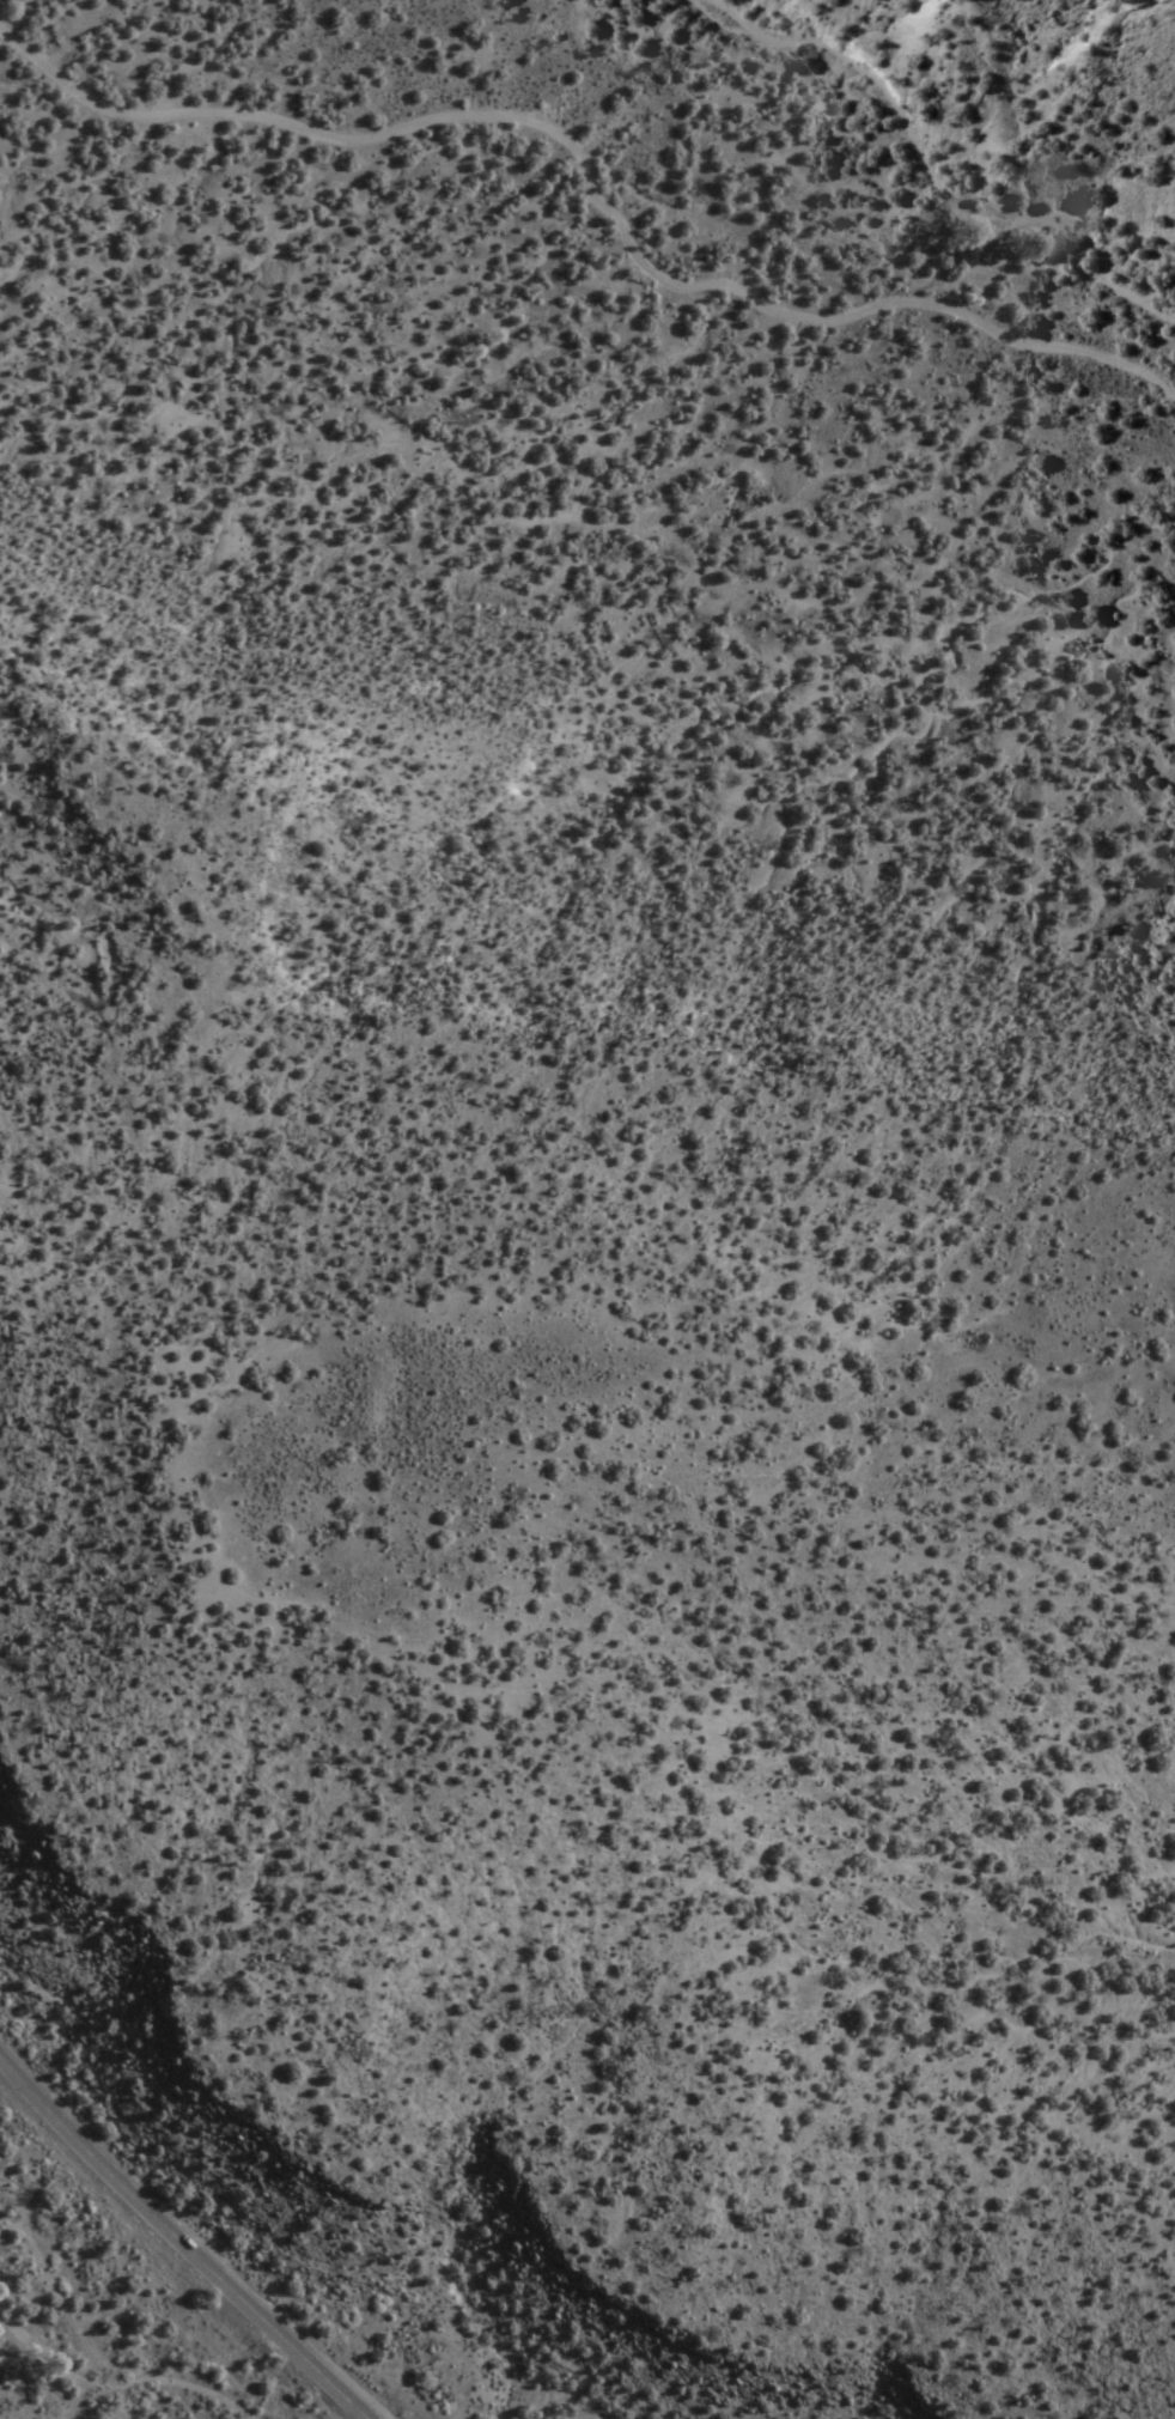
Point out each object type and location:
road: (589, 190)
road: (177, 2244)

